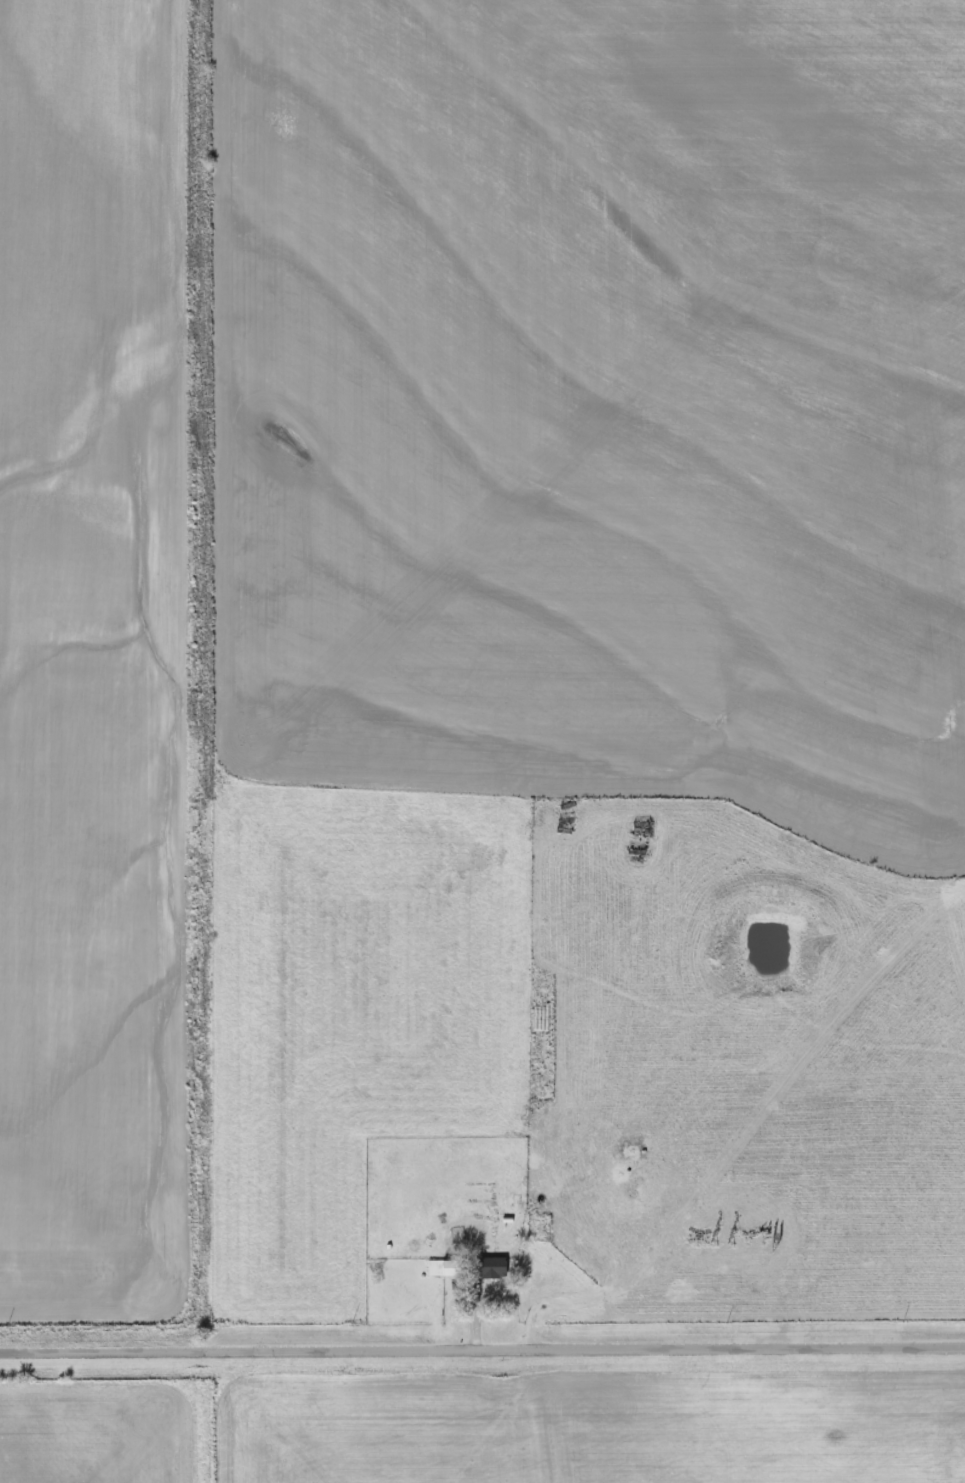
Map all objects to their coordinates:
building: (487, 1268)
road: (482, 1349)

